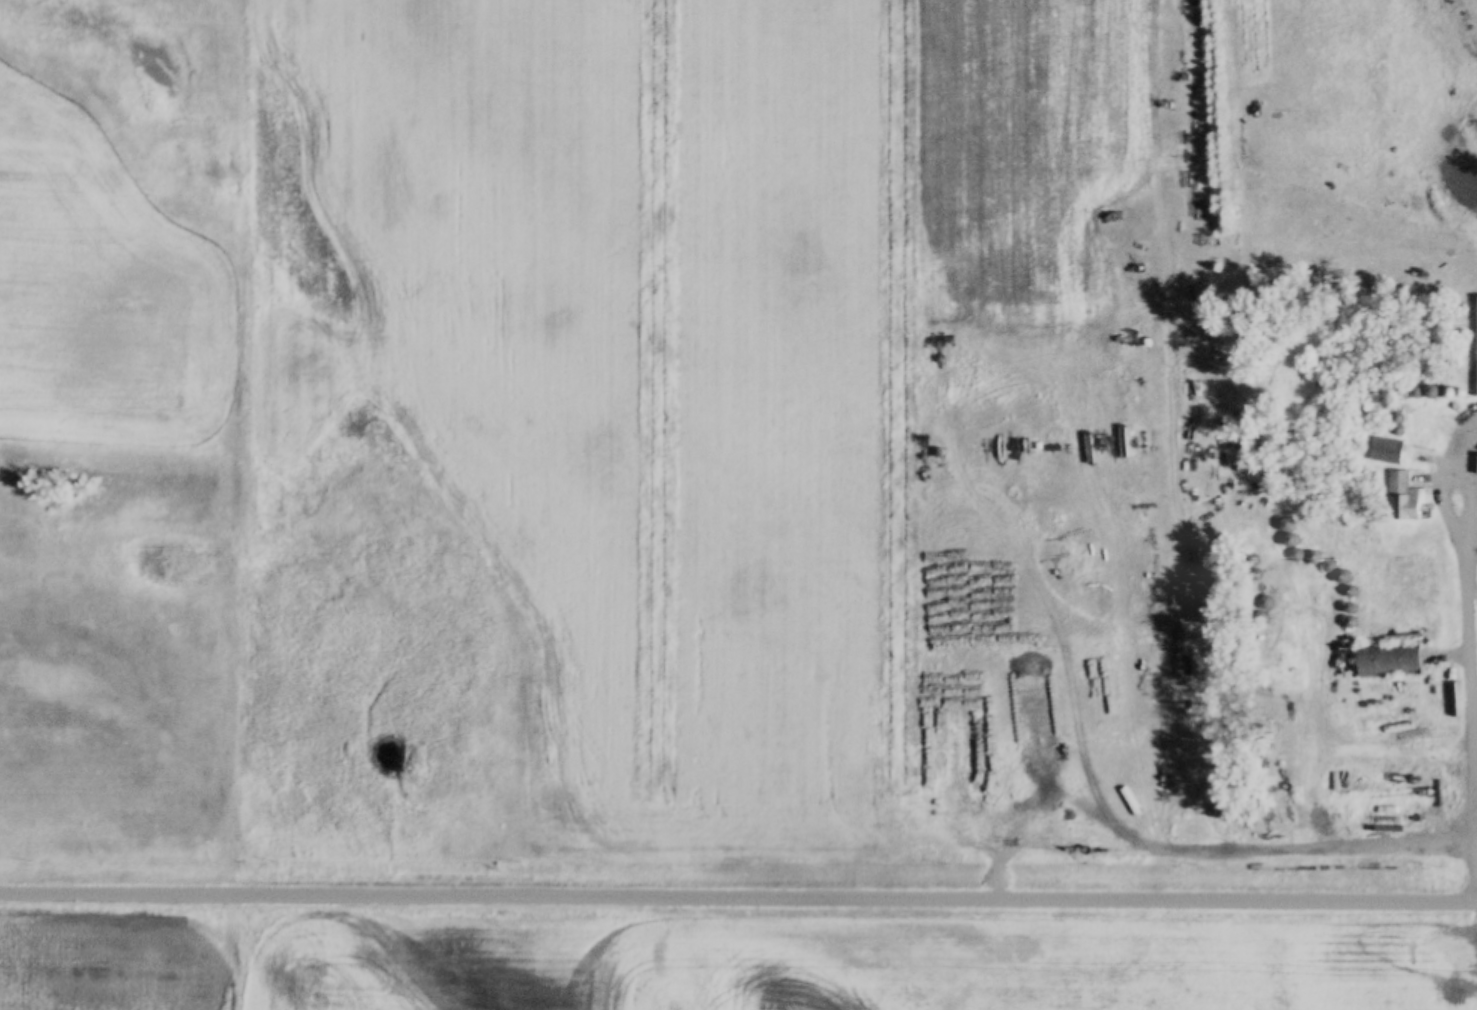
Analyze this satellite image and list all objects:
building: (1385, 449)
building: (1403, 496)
road: (1472, 677)
building: (1332, 781)
building: (1322, 784)
road: (738, 891)

